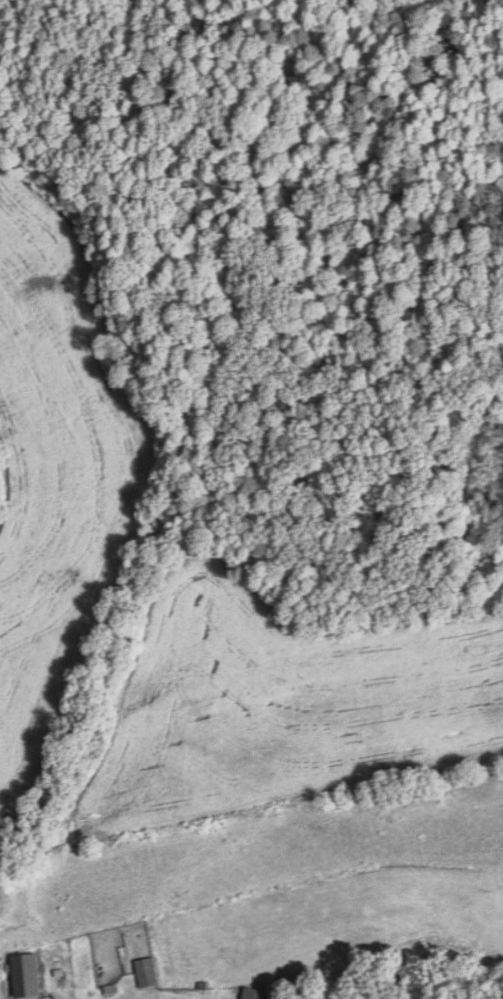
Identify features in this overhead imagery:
building: (147, 972)
building: (26, 975)
building: (255, 993)

